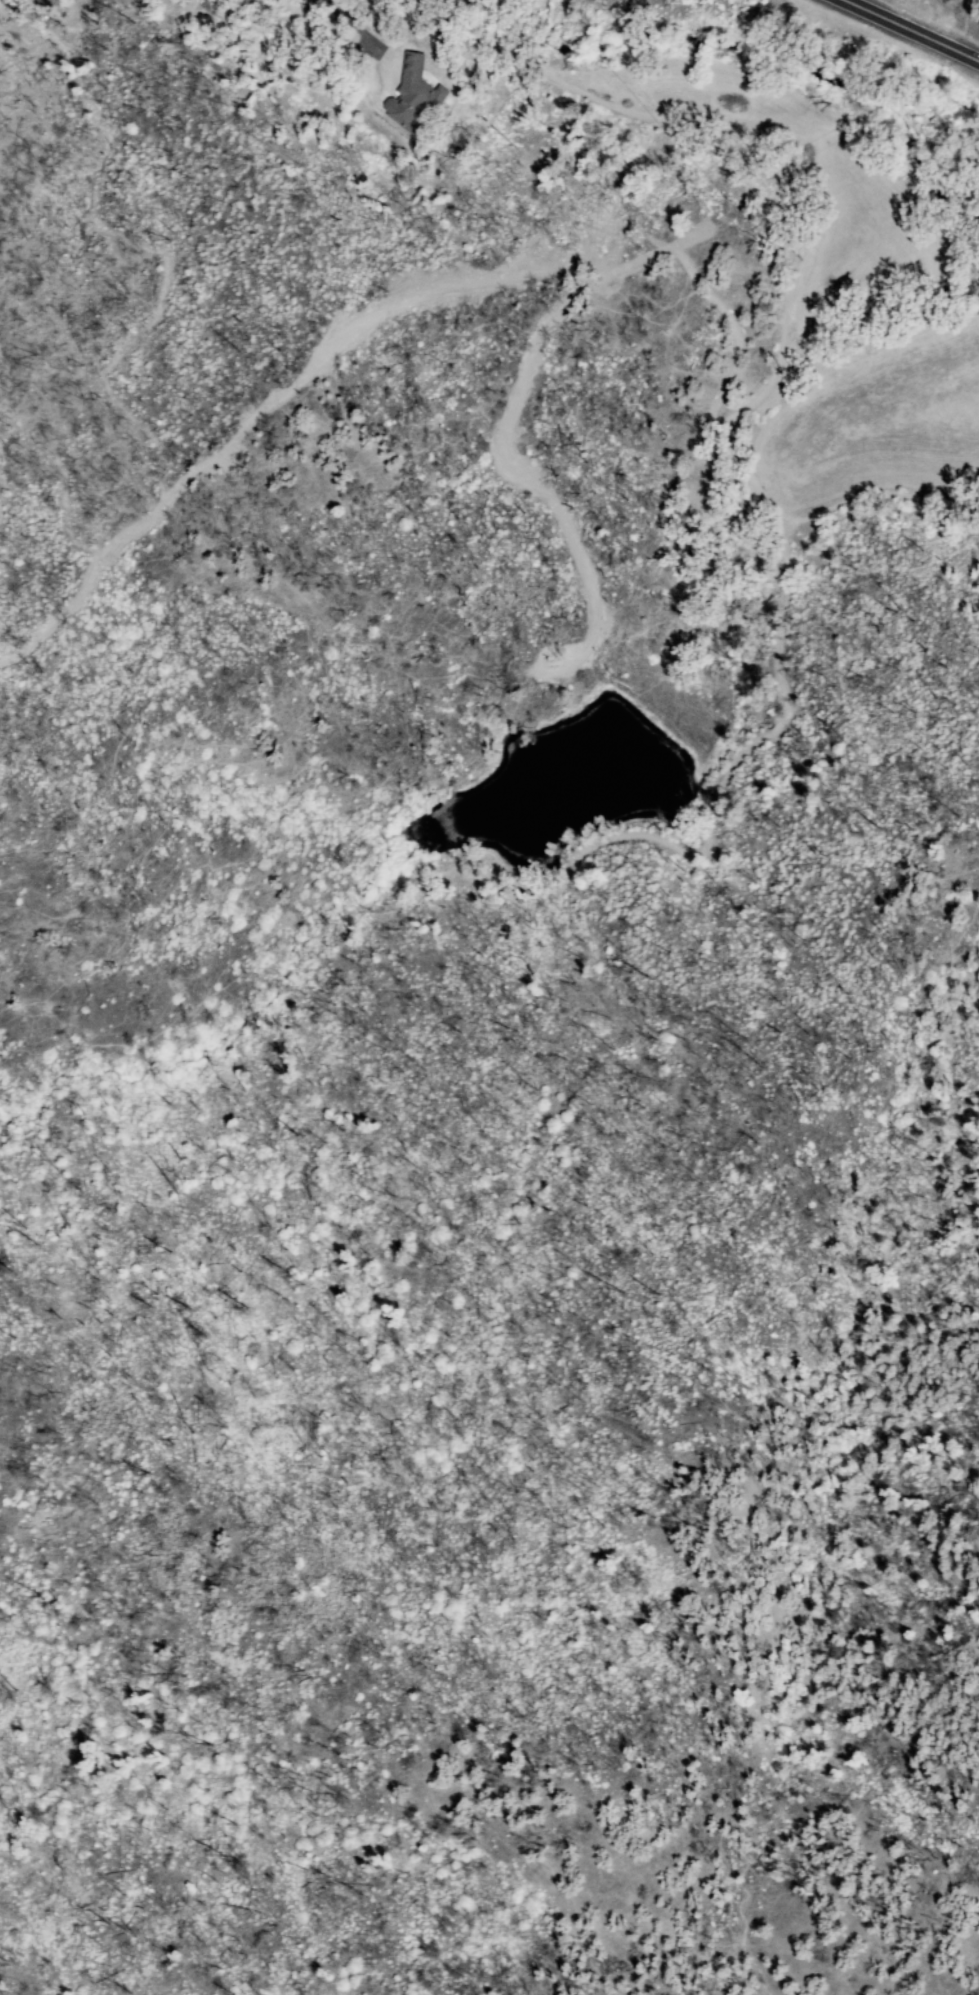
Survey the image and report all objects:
road: (349, 19)
road: (921, 27)
building: (417, 94)

